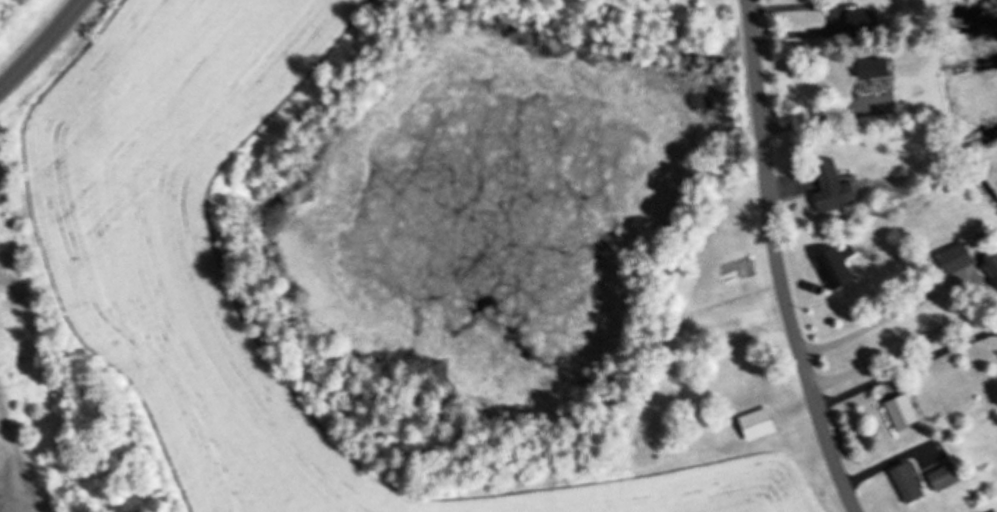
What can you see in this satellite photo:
building: (858, 20)
road: (43, 46)
building: (869, 68)
building: (829, 189)
building: (953, 258)
road: (776, 261)
building: (830, 268)
building: (990, 269)
building: (754, 424)
building: (942, 476)
building: (904, 483)

